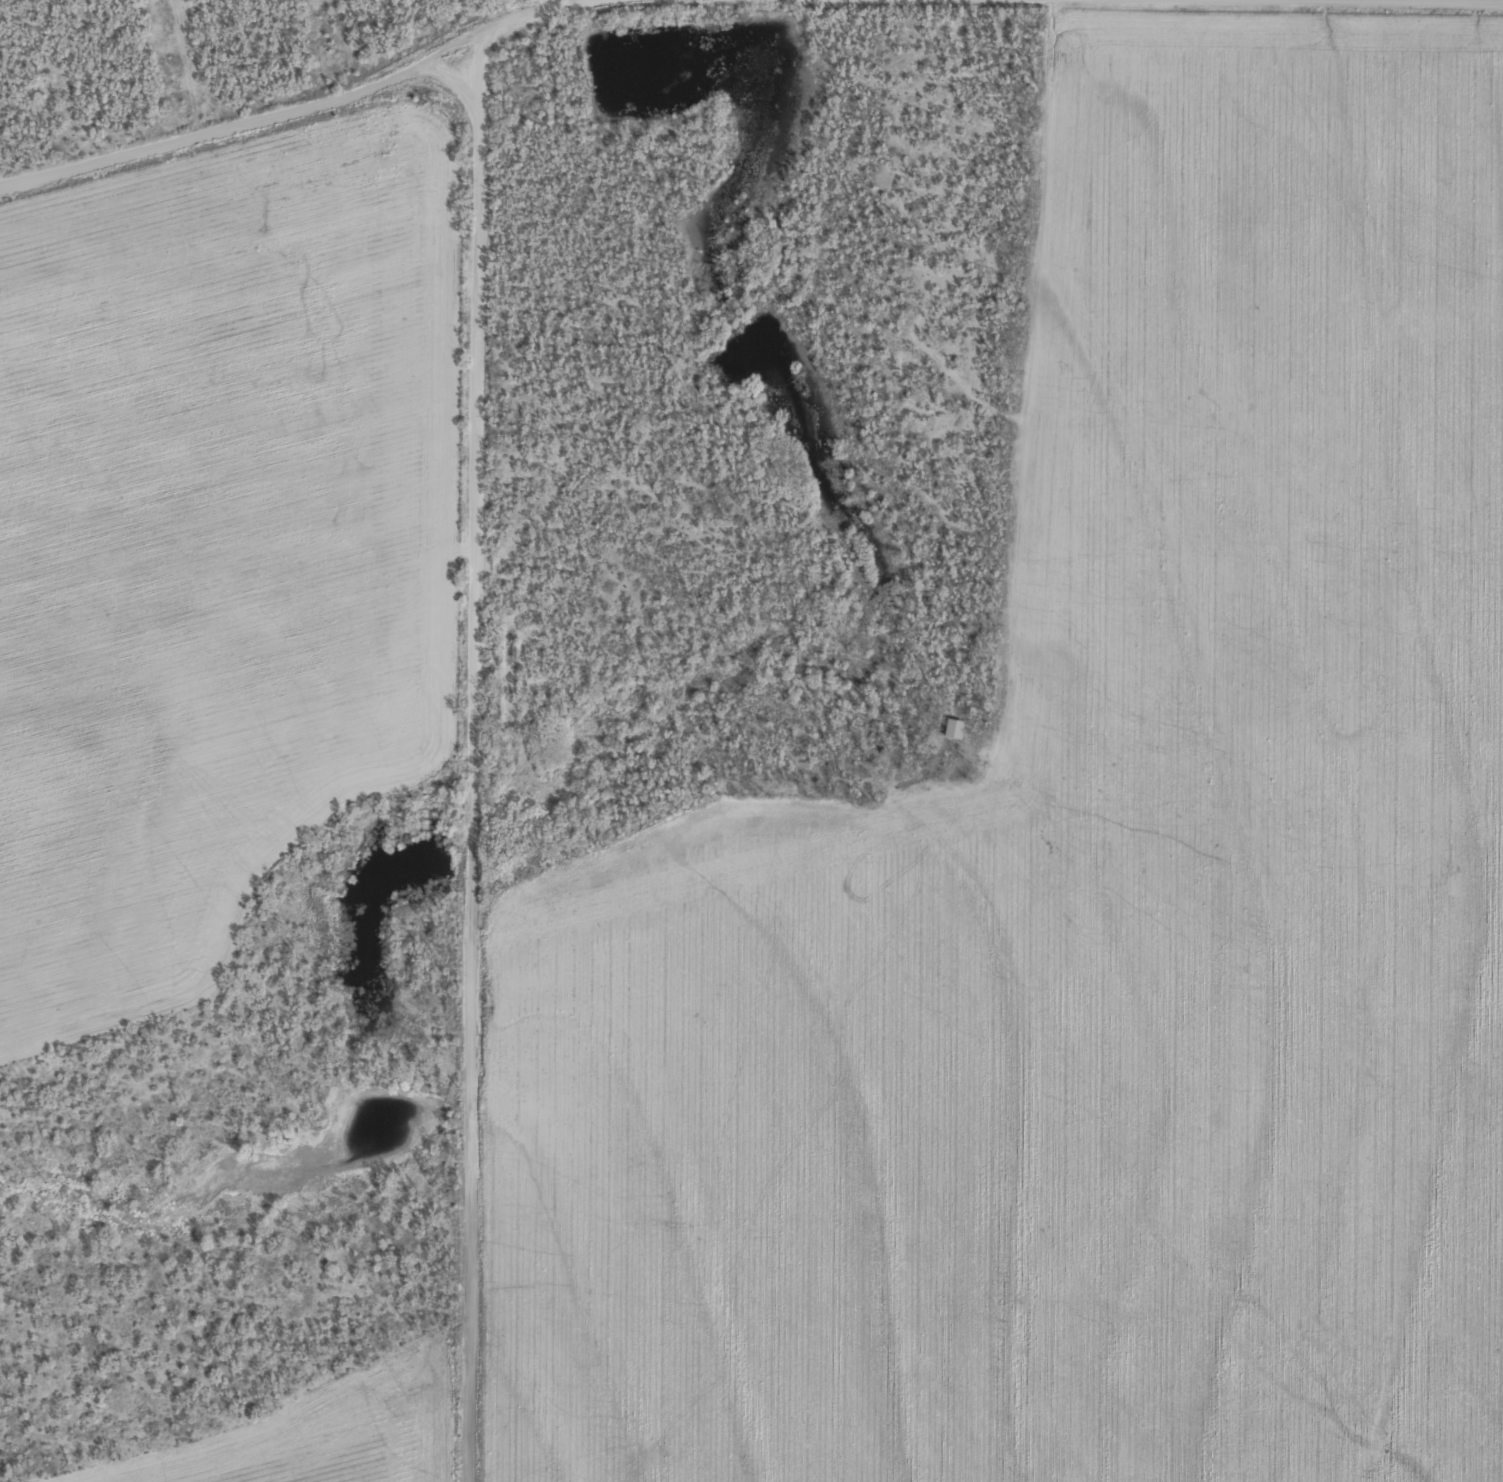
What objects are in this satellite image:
road: (505, 28)
road: (241, 118)
road: (476, 777)

